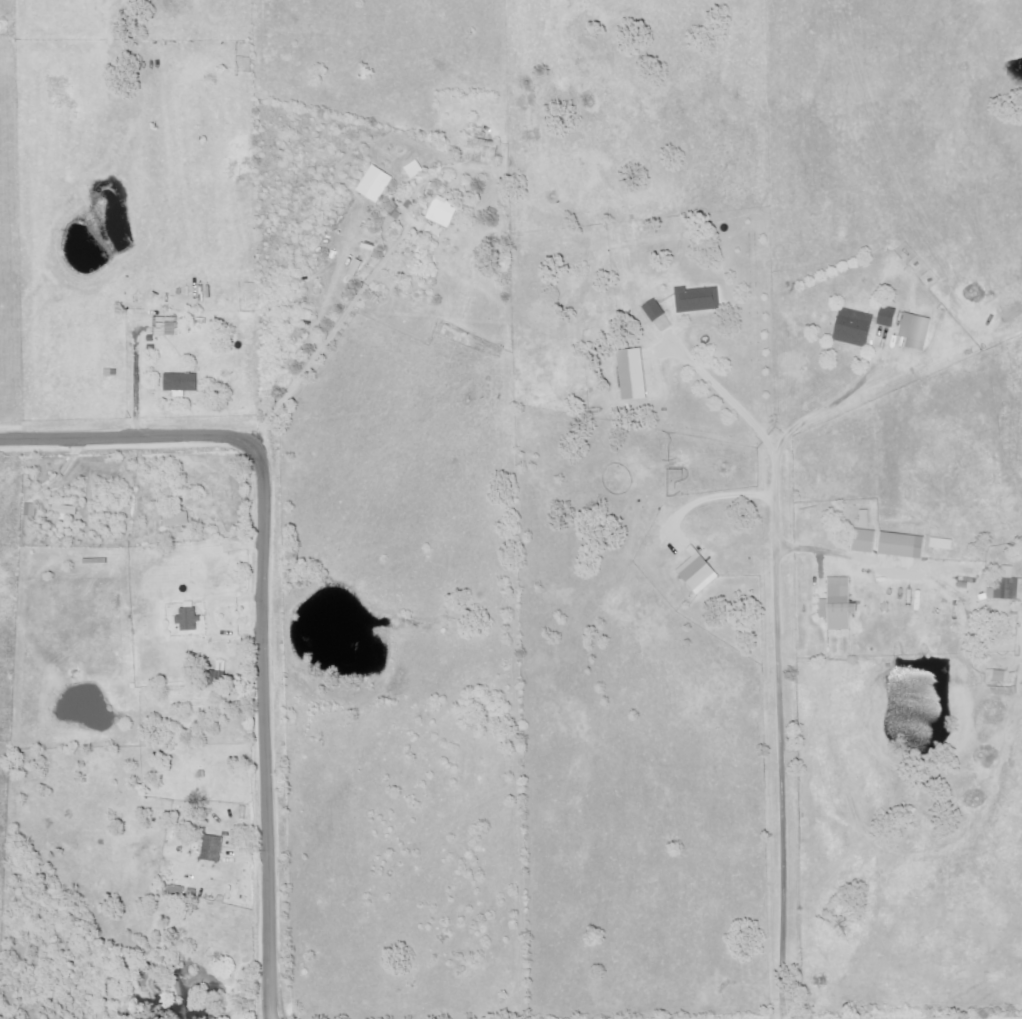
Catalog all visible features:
building: (479, 150)
building: (373, 184)
building: (440, 212)
building: (353, 267)
building: (695, 300)
building: (651, 310)
building: (884, 321)
building: (163, 326)
building: (850, 327)
building: (913, 331)
building: (628, 374)
building: (179, 383)
road: (119, 436)
building: (31, 510)
building: (66, 511)
building: (175, 519)
building: (694, 572)
building: (1004, 586)
building: (836, 605)
building: (185, 620)
building: (997, 675)
road: (266, 724)
road: (781, 743)
building: (210, 848)

